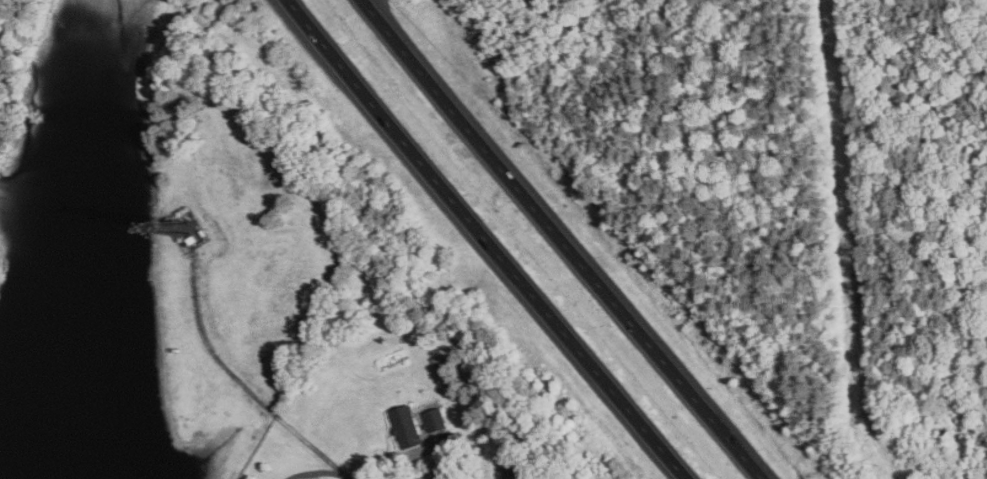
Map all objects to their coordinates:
building: (202, 233)
building: (192, 239)
road: (485, 240)
road: (559, 240)
road: (239, 381)
building: (436, 419)
building: (407, 426)
road: (402, 457)
road: (316, 472)
building: (436, 475)
road: (347, 477)
building: (455, 478)

